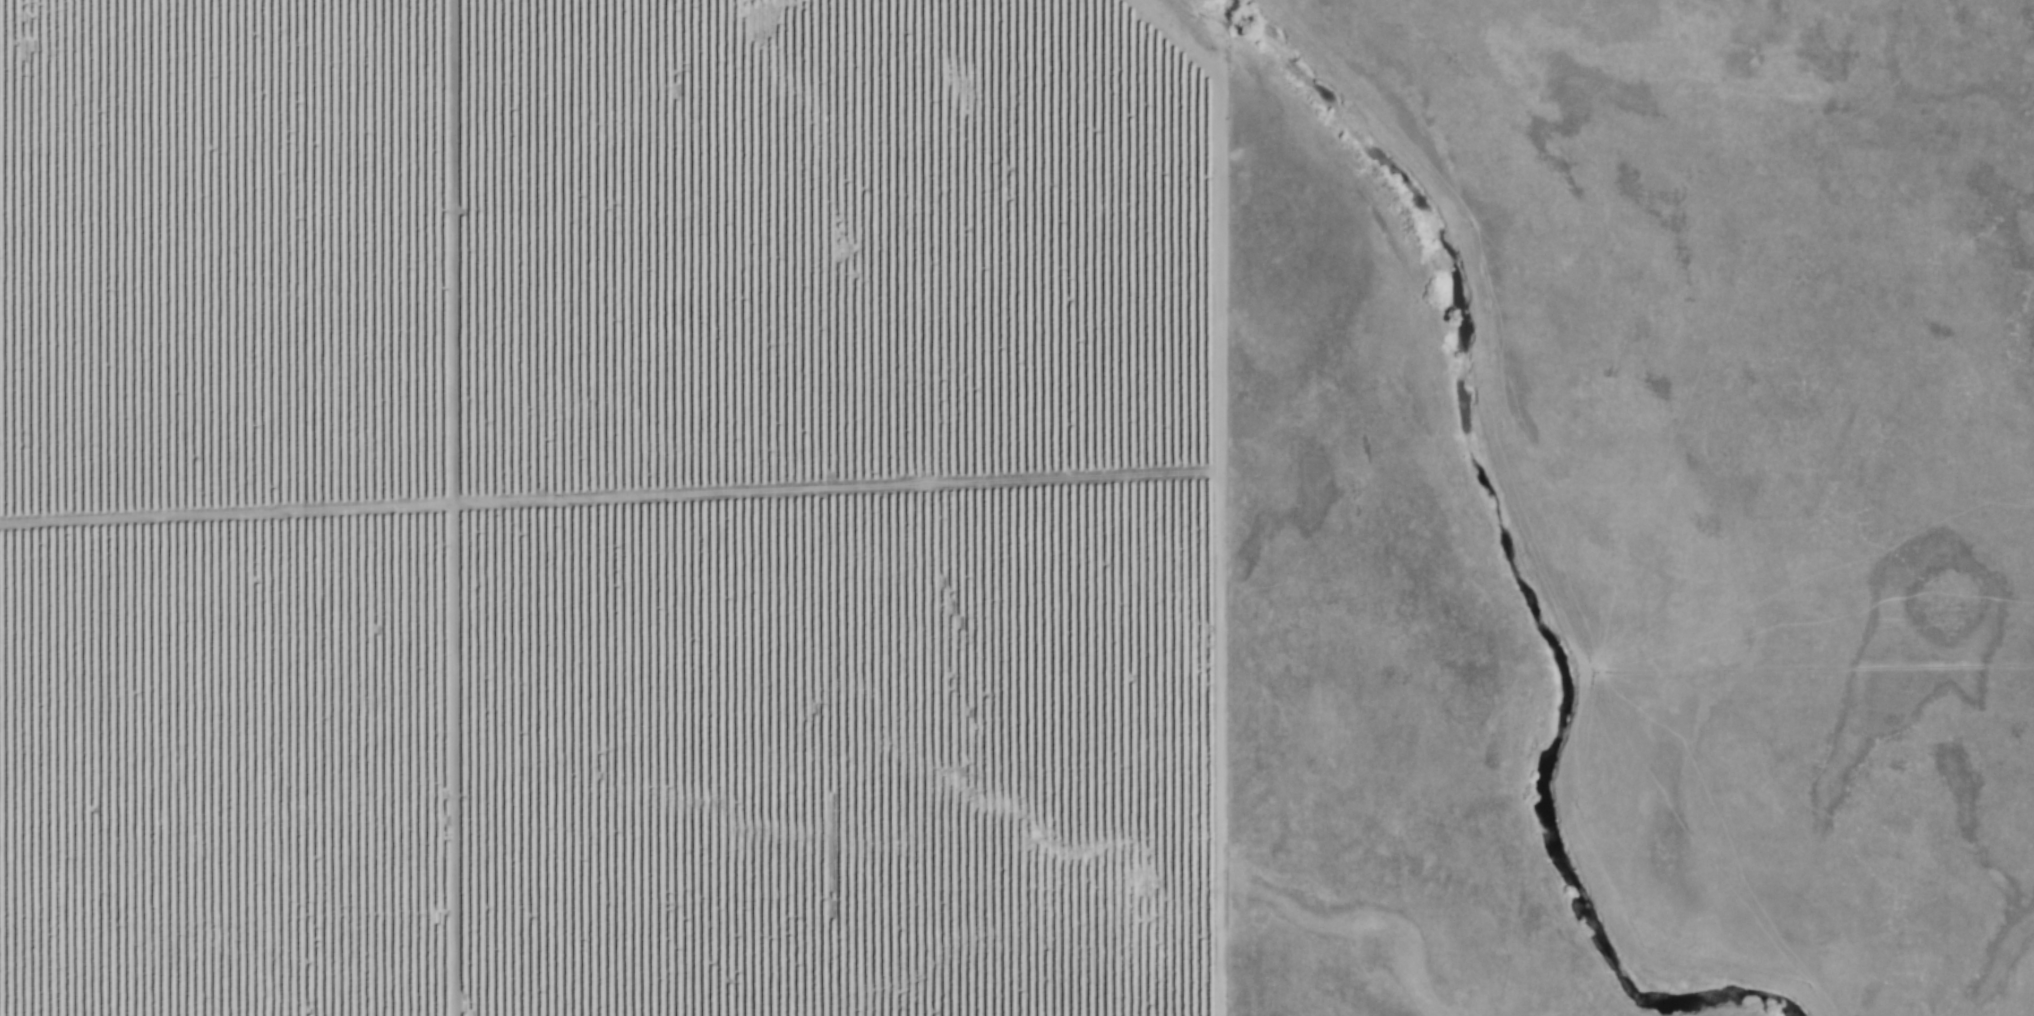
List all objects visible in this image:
crop: (607, 509)

